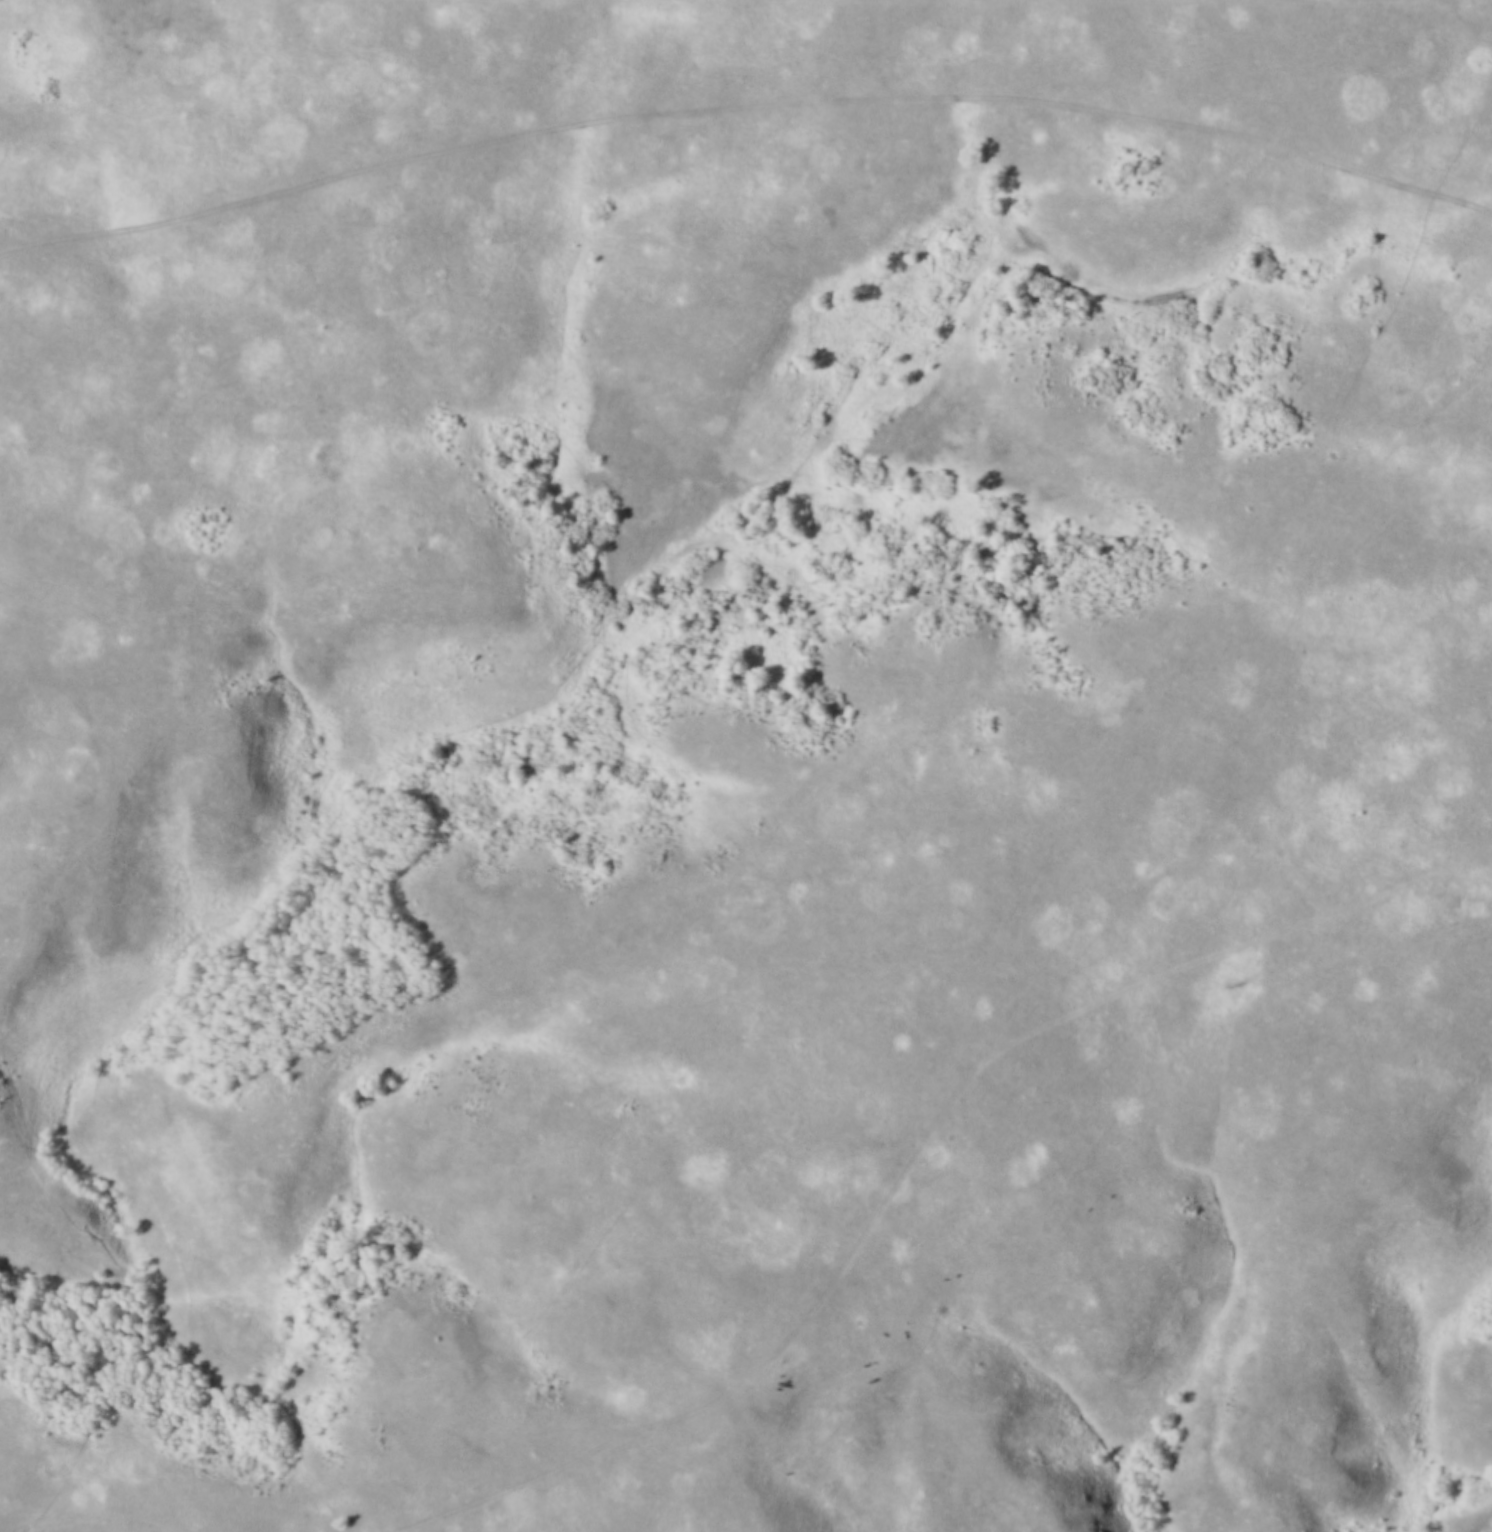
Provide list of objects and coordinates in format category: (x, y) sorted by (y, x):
road: (745, 105)

